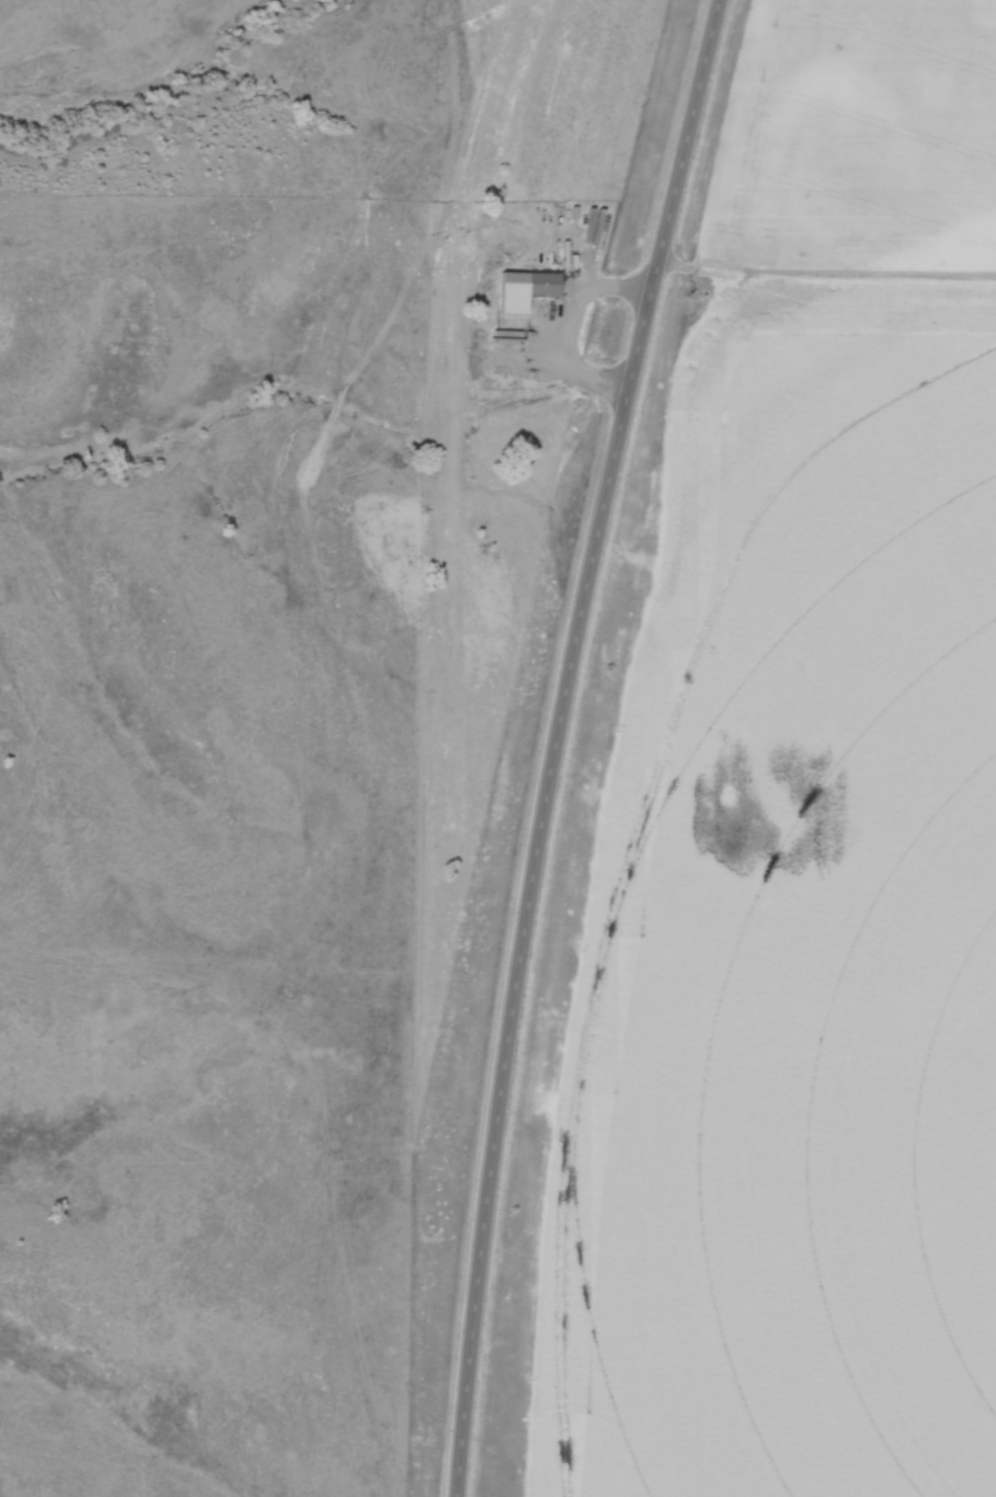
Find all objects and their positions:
building: (543, 285)
road: (551, 742)

